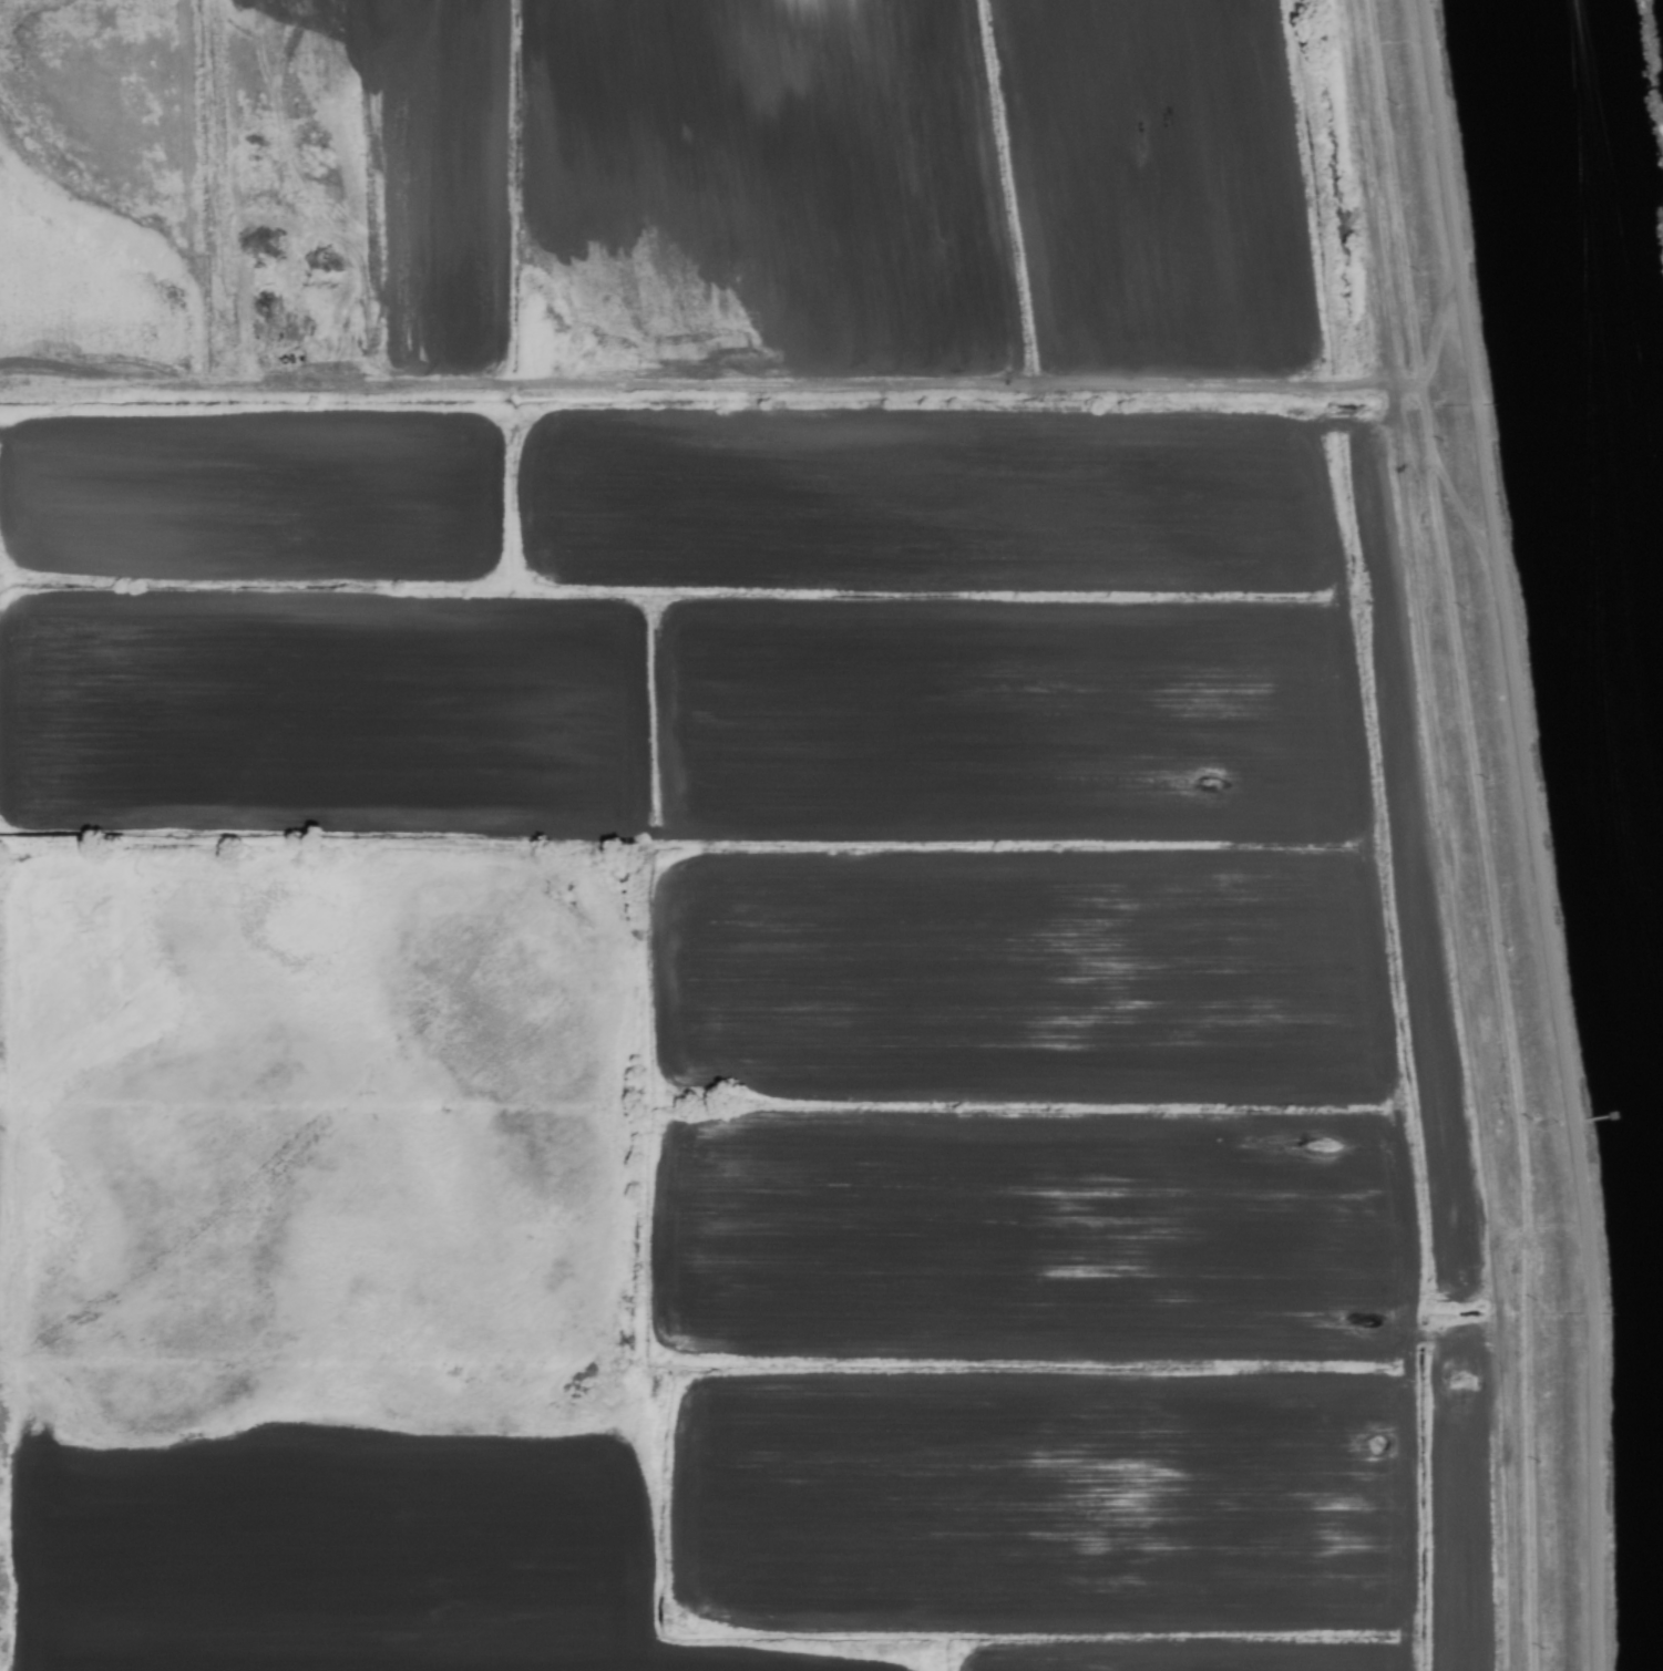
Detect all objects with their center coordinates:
road: (1549, 831)
crop: (733, 843)

